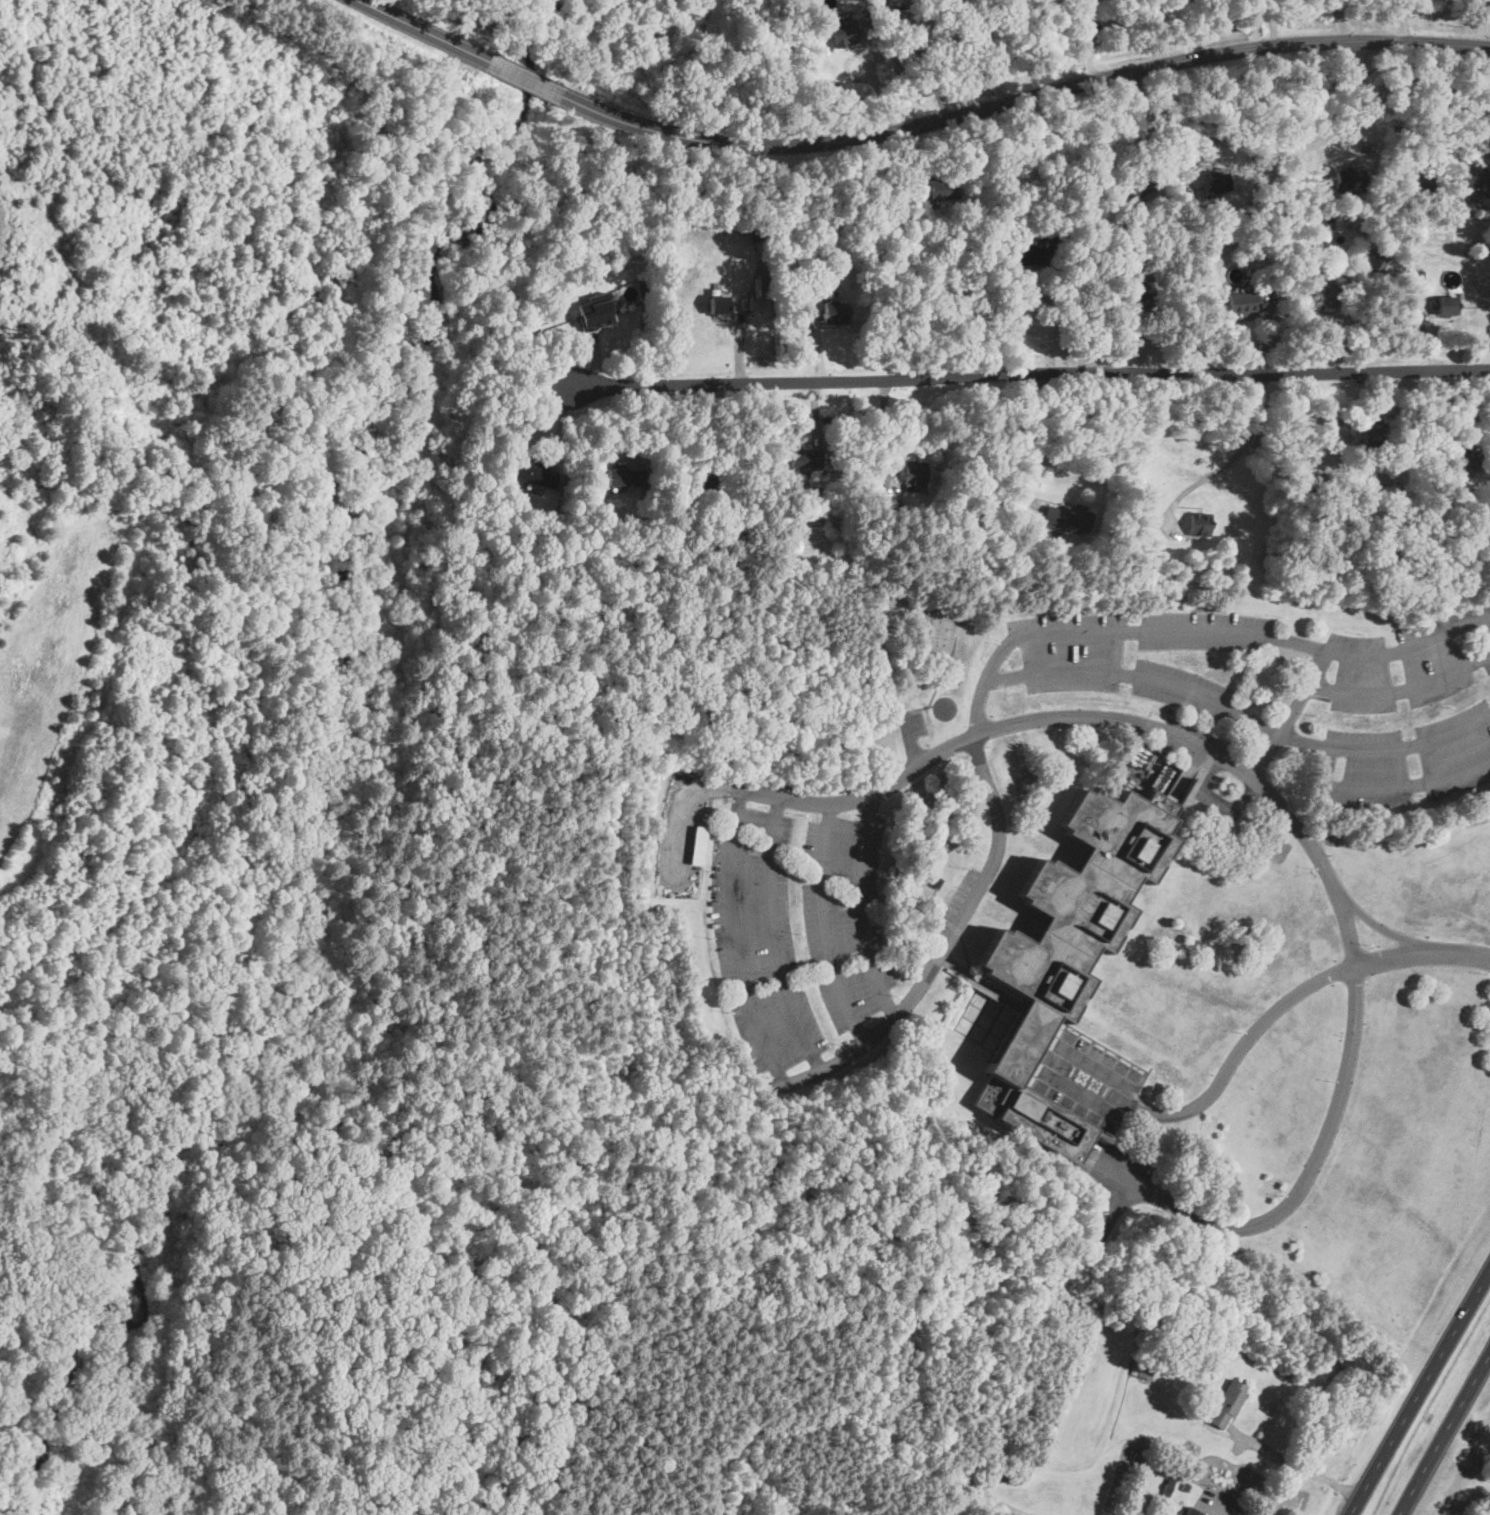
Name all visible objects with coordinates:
road: (1273, 22)
road: (1254, 23)
road: (1194, 28)
building: (841, 33)
road: (970, 55)
road: (923, 59)
road: (875, 76)
road: (1362, 78)
road: (1446, 98)
road: (1406, 115)
road: (1165, 116)
road: (910, 127)
building: (1419, 181)
building: (1138, 184)
building: (1473, 185)
building: (938, 188)
building: (1030, 252)
building: (1415, 285)
building: (1319, 295)
building: (1241, 301)
building: (716, 304)
building: (1443, 305)
building: (833, 309)
building: (593, 312)
road: (1127, 324)
road: (1058, 326)
road: (1017, 380)
building: (1367, 443)
road: (1230, 458)
building: (1459, 465)
building: (532, 472)
building: (912, 476)
building: (623, 477)
building: (1065, 516)
building: (1197, 524)
road: (1072, 632)
road: (1368, 648)
road: (1400, 688)
road: (1301, 690)
helipad: (944, 706)
road: (1239, 712)
road: (1093, 715)
road: (1227, 733)
road: (1265, 756)
road: (1388, 786)
building: (696, 845)
road: (863, 906)
road: (823, 922)
road: (1345, 923)
building: (1067, 934)
road: (771, 937)
road: (1274, 1010)
road: (849, 1054)
road: (1310, 1172)
building: (1141, 1365)
road: (1419, 1391)
building: (1226, 1403)
road: (1444, 1434)
road: (1294, 1463)
road: (1210, 1505)
building: (1190, 1511)

